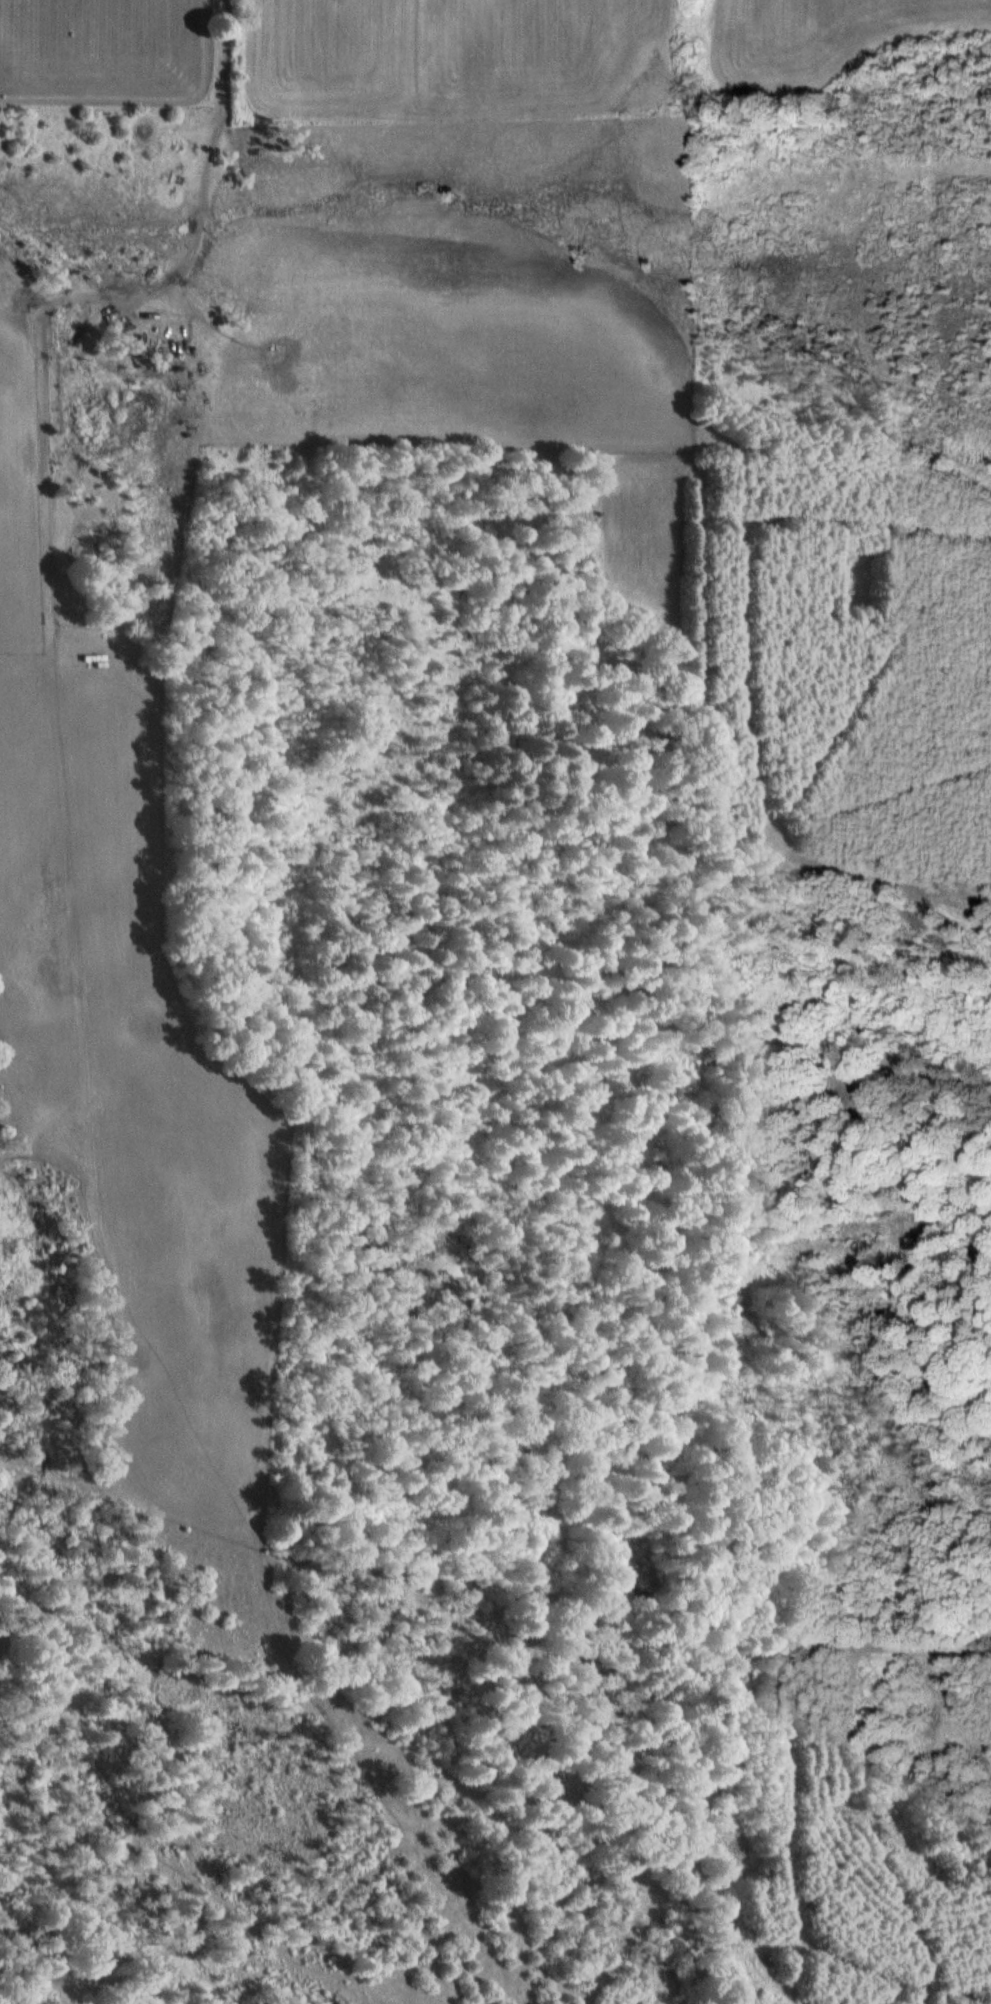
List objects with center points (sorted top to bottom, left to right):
building: (89, 659)

